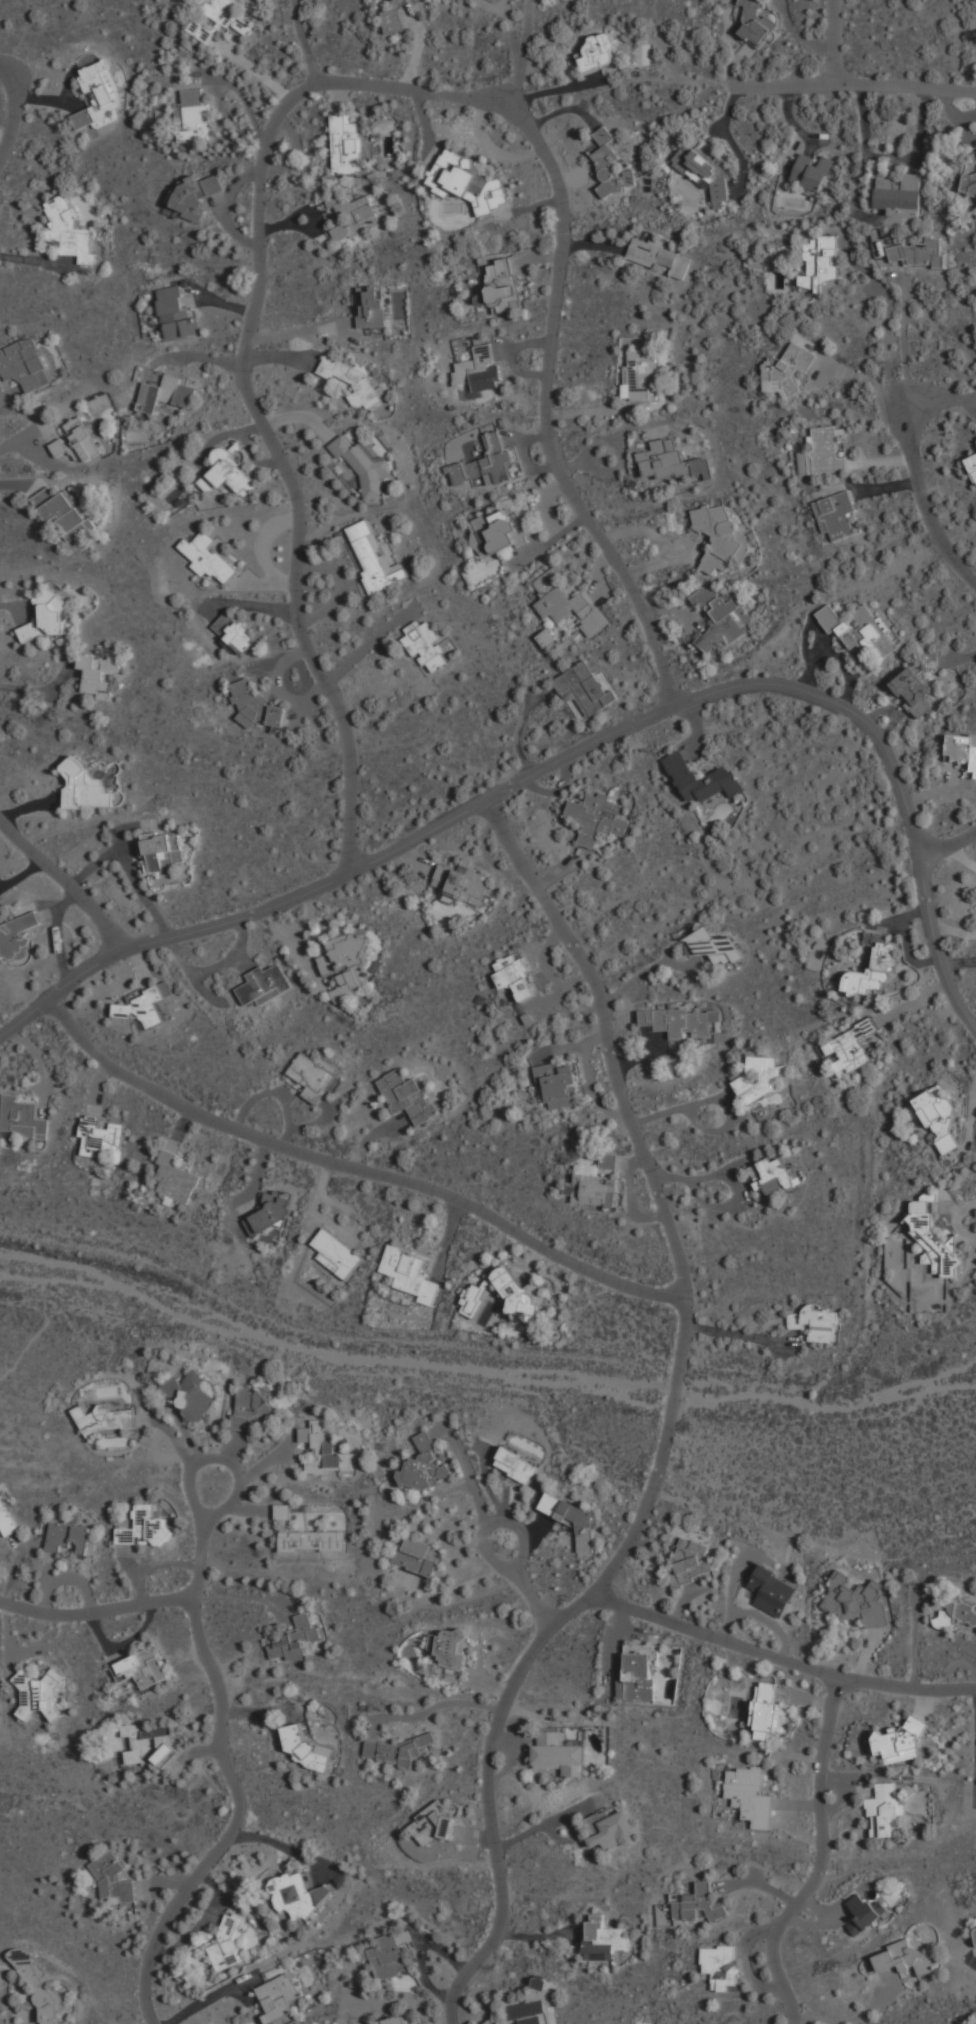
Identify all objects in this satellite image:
building: (228, 15)
building: (393, 16)
building: (756, 22)
building: (200, 30)
road: (834, 42)
building: (597, 51)
road: (521, 55)
road: (318, 85)
road: (858, 85)
building: (99, 95)
road: (15, 111)
building: (192, 116)
building: (346, 144)
building: (610, 165)
building: (705, 171)
building: (812, 171)
building: (467, 181)
building: (969, 183)
building: (194, 195)
building: (899, 195)
building: (975, 208)
building: (903, 212)
building: (355, 216)
building: (69, 230)
building: (917, 252)
building: (653, 256)
building: (820, 262)
building: (501, 285)
building: (369, 307)
building: (175, 315)
road: (905, 334)
road: (887, 347)
building: (24, 364)
building: (479, 368)
building: (786, 369)
building: (640, 374)
building: (351, 381)
building: (166, 394)
building: (77, 443)
building: (825, 451)
building: (669, 461)
building: (485, 463)
building: (363, 465)
building: (972, 467)
building: (227, 471)
road: (915, 472)
building: (62, 512)
building: (836, 514)
building: (499, 530)
building: (721, 538)
building: (374, 557)
building: (208, 558)
building: (567, 603)
building: (722, 617)
building: (44, 618)
building: (860, 629)
building: (234, 631)
building: (546, 637)
building: (425, 646)
building: (98, 673)
building: (584, 687)
building: (912, 691)
road: (39, 692)
building: (256, 707)
building: (962, 749)
road: (569, 753)
building: (703, 782)
building: (84, 787)
building: (596, 817)
road: (947, 846)
building: (162, 851)
road: (128, 869)
building: (461, 882)
road: (63, 883)
building: (16, 936)
building: (712, 945)
building: (345, 963)
building: (872, 965)
road: (646, 971)
building: (515, 976)
building: (264, 984)
building: (144, 1005)
building: (676, 1021)
building: (855, 1046)
building: (311, 1076)
building: (761, 1079)
building: (558, 1084)
building: (407, 1096)
building: (939, 1116)
building: (21, 1117)
building: (101, 1135)
road: (306, 1153)
building: (607, 1161)
building: (771, 1176)
building: (173, 1178)
building: (593, 1189)
building: (270, 1212)
building: (934, 1242)
building: (336, 1252)
building: (409, 1272)
road: (633, 1285)
building: (516, 1292)
building: (473, 1299)
building: (815, 1323)
road: (732, 1333)
building: (187, 1396)
building: (249, 1409)
building: (102, 1419)
road: (664, 1428)
building: (324, 1451)
building: (515, 1466)
building: (422, 1467)
building: (570, 1520)
building: (6, 1521)
building: (144, 1529)
building: (67, 1537)
road: (201, 1541)
building: (311, 1541)
building: (415, 1557)
building: (691, 1562)
road: (530, 1580)
building: (772, 1590)
building: (857, 1601)
building: (953, 1613)
road: (94, 1614)
building: (297, 1641)
building: (447, 1649)
building: (643, 1651)
road: (790, 1652)
building: (141, 1669)
building: (638, 1676)
building: (50, 1695)
building: (767, 1709)
building: (900, 1743)
building: (148, 1744)
building: (306, 1749)
building: (398, 1751)
building: (557, 1753)
building: (750, 1796)
building: (884, 1808)
road: (238, 1819)
building: (432, 1825)
building: (610, 1831)
road: (283, 1848)
road: (823, 1853)
building: (113, 1878)
building: (295, 1896)
building: (699, 1904)
building: (862, 1914)
building: (975, 1931)
building: (603, 1939)
building: (227, 1944)
building: (621, 1956)
building: (386, 1958)
building: (904, 1958)
building: (720, 1966)
building: (538, 1983)
road: (212, 1998)
building: (276, 1998)
building: (530, 2012)
building: (391, 2021)

